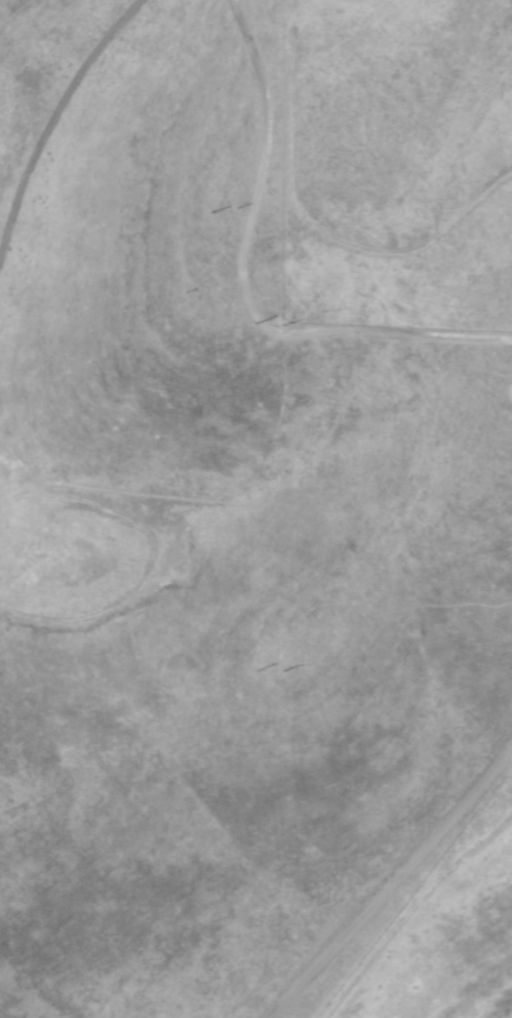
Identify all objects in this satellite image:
road: (37, 605)
road: (404, 892)

